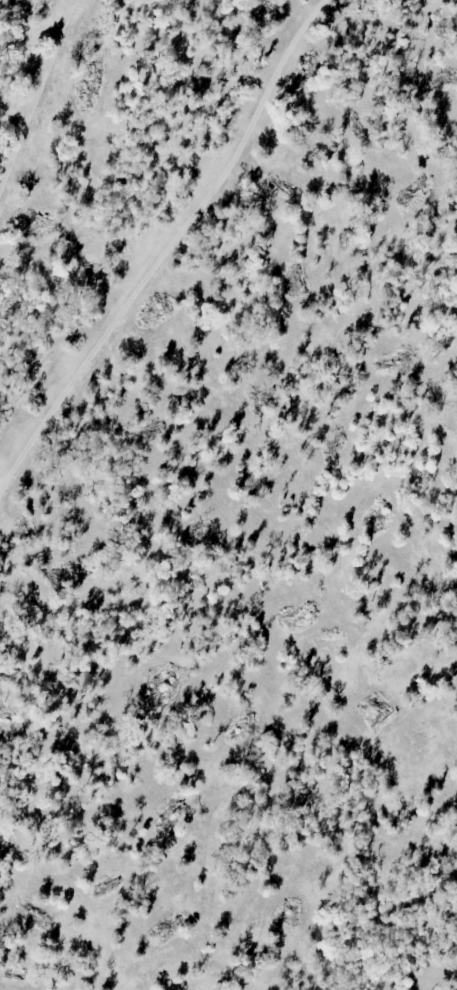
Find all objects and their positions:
road: (169, 247)

